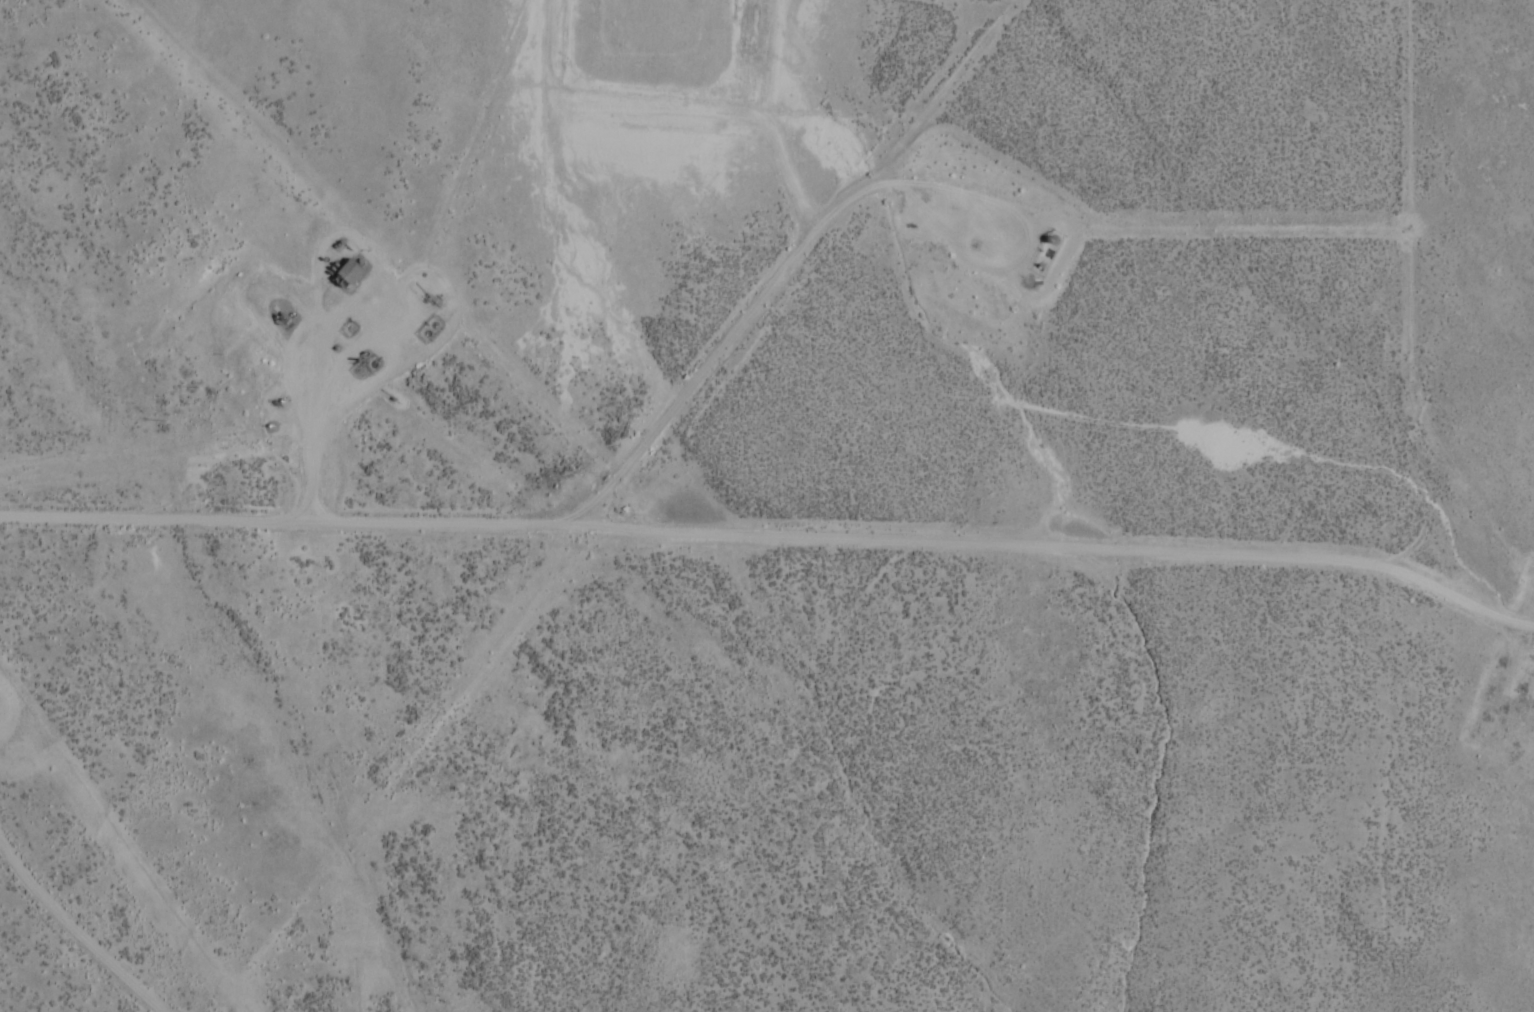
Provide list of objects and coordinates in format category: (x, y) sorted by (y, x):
building: (351, 271)
building: (15, 601)
road: (50, 963)
building: (38, 1006)

